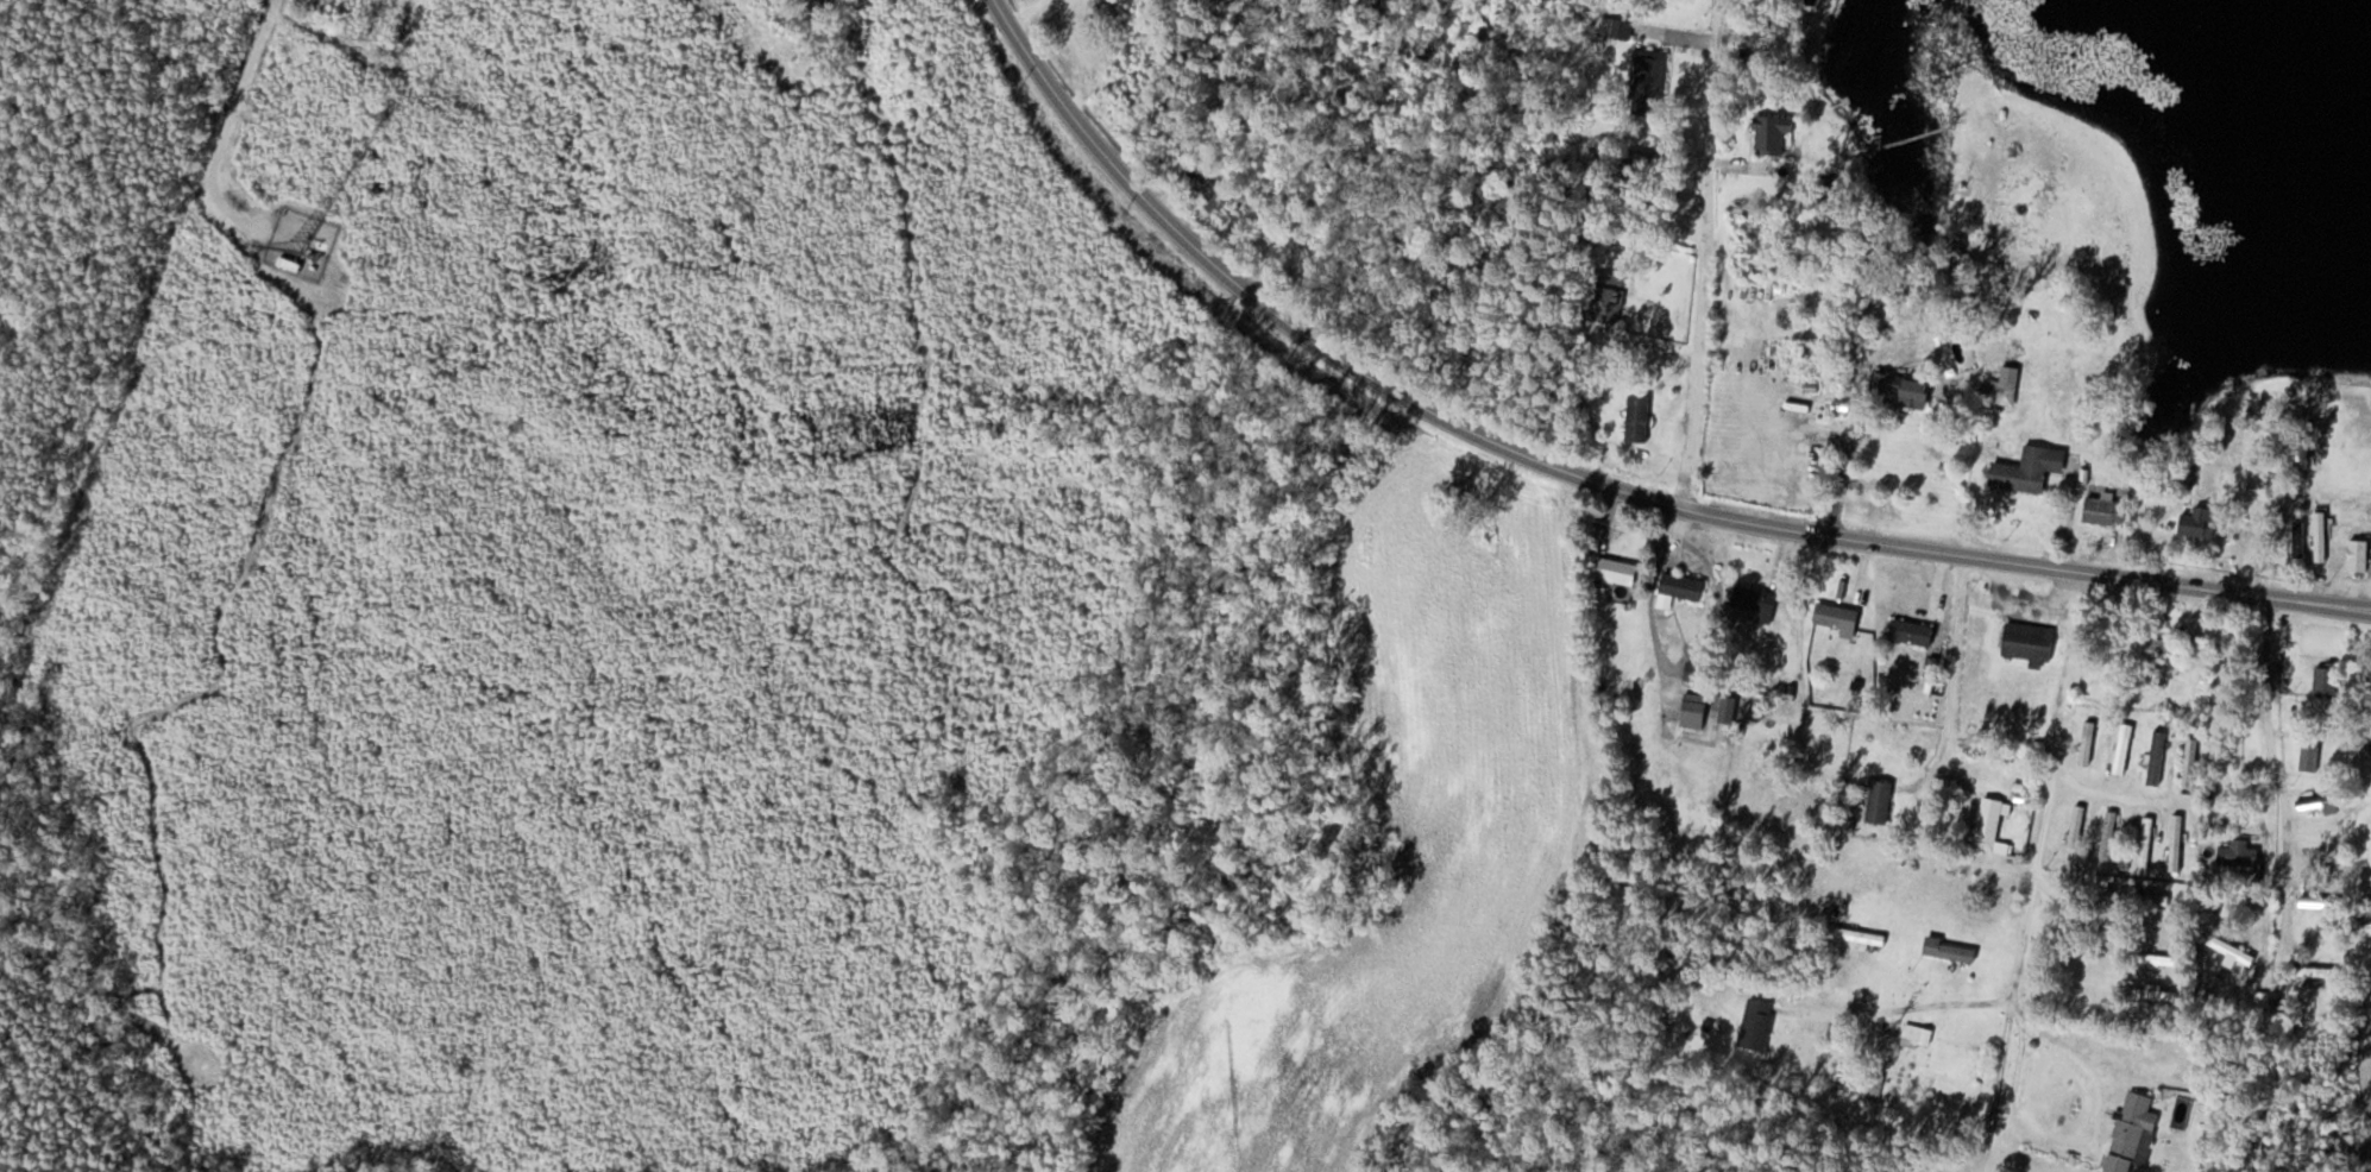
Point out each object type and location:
building: (1106, 6)
road: (1027, 12)
building: (1650, 74)
road: (232, 118)
building: (1774, 133)
building: (1215, 196)
road: (1703, 251)
building: (2007, 384)
building: (1907, 390)
building: (1640, 417)
building: (2030, 468)
road: (1596, 480)
building: (2107, 510)
building: (2200, 522)
building: (2321, 536)
building: (2300, 538)
building: (2360, 554)
building: (1617, 569)
building: (1680, 587)
building: (1755, 604)
building: (1838, 616)
building: (1913, 631)
building: (2031, 641)
building: (2159, 649)
building: (1699, 670)
building: (2328, 681)
building: (2088, 741)
building: (2124, 748)
building: (2158, 756)
building: (2310, 756)
road: (2275, 757)
building: (2191, 762)
building: (1880, 800)
building: (2322, 801)
building: (1992, 818)
building: (2077, 825)
building: (2108, 833)
building: (2146, 840)
building: (2176, 842)
building: (2240, 853)
road: (2030, 897)
building: (2149, 897)
building: (2322, 900)
building: (1862, 935)
building: (1950, 949)
building: (2232, 950)
building: (2169, 959)
building: (2323, 972)
building: (1759, 1023)
building: (1918, 1035)
building: (2132, 1133)

